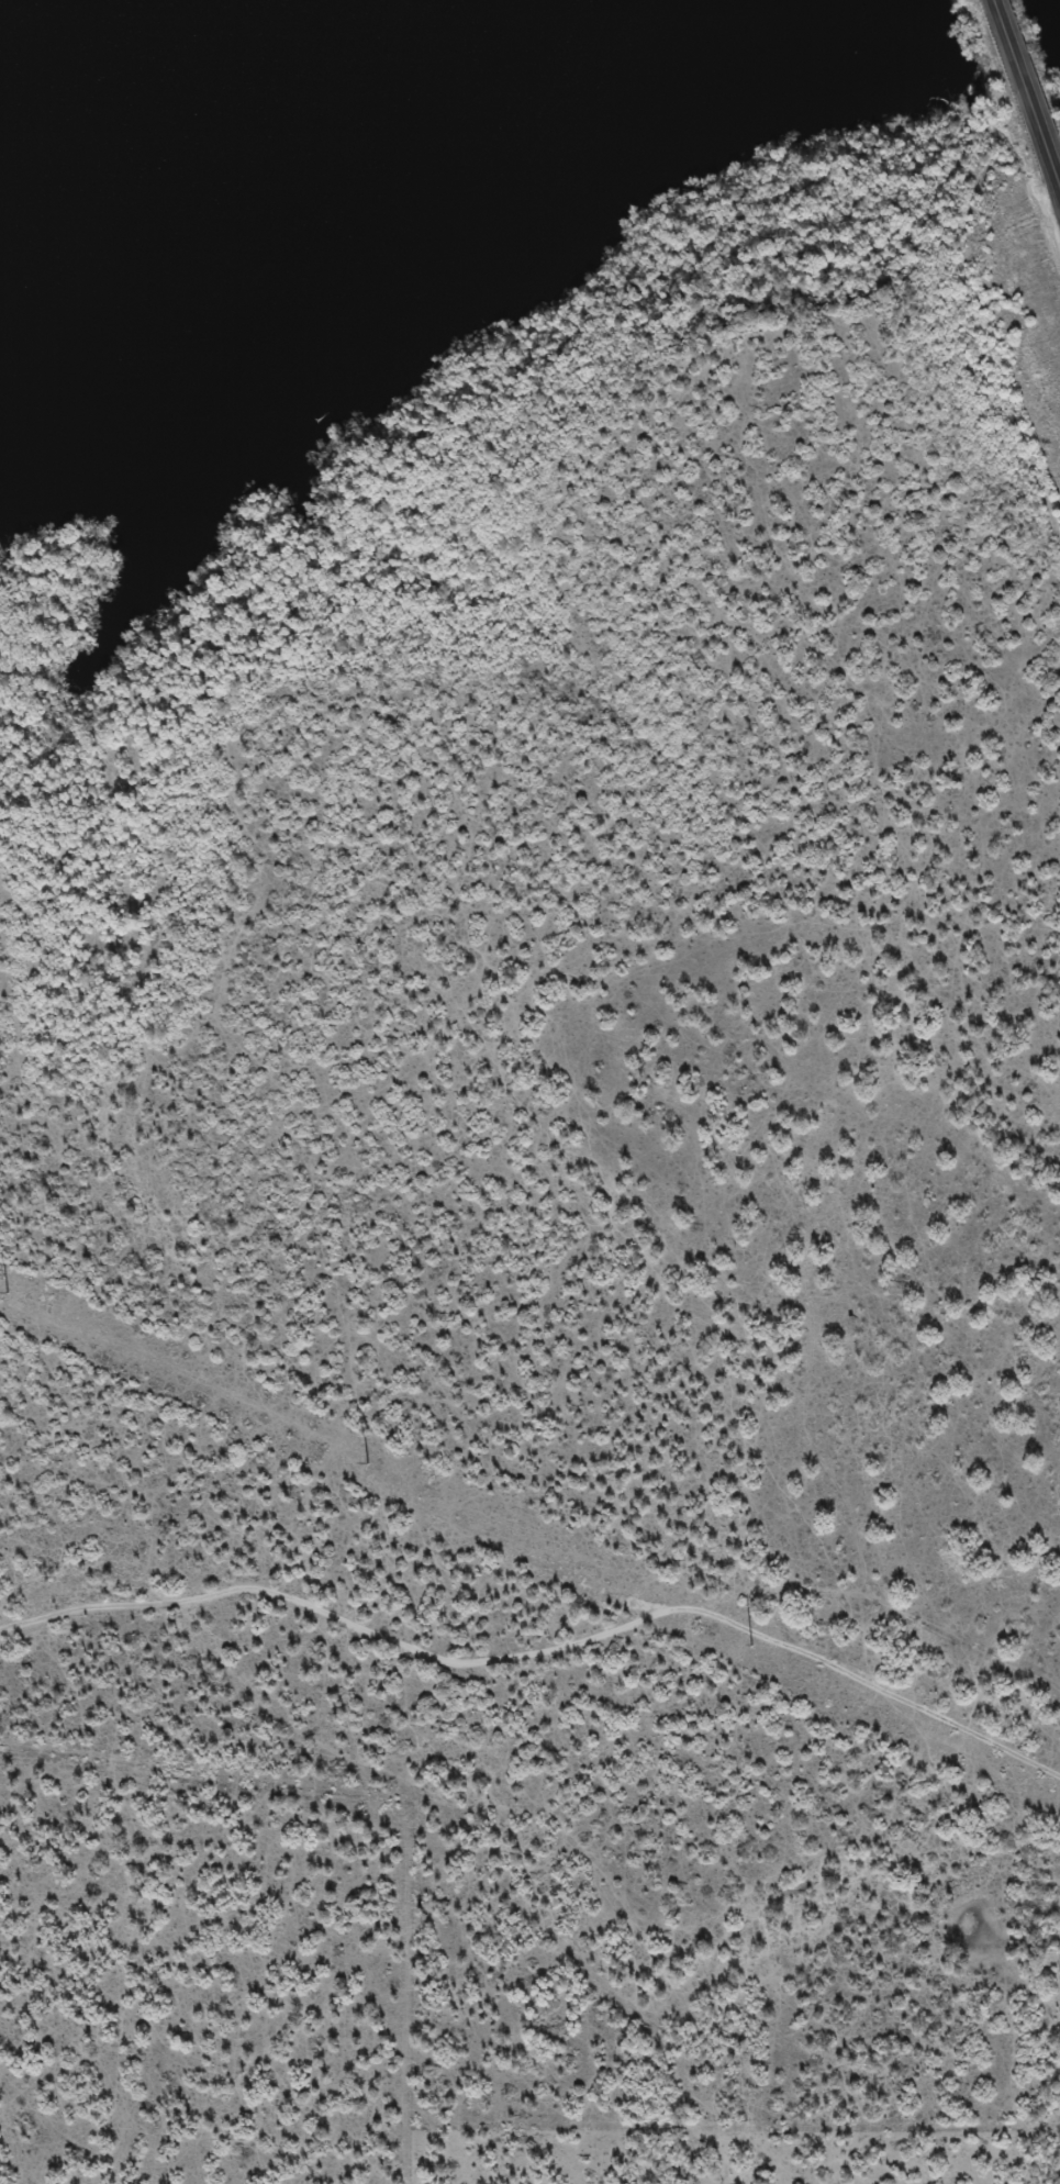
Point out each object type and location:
road: (1027, 91)
road: (537, 1667)

